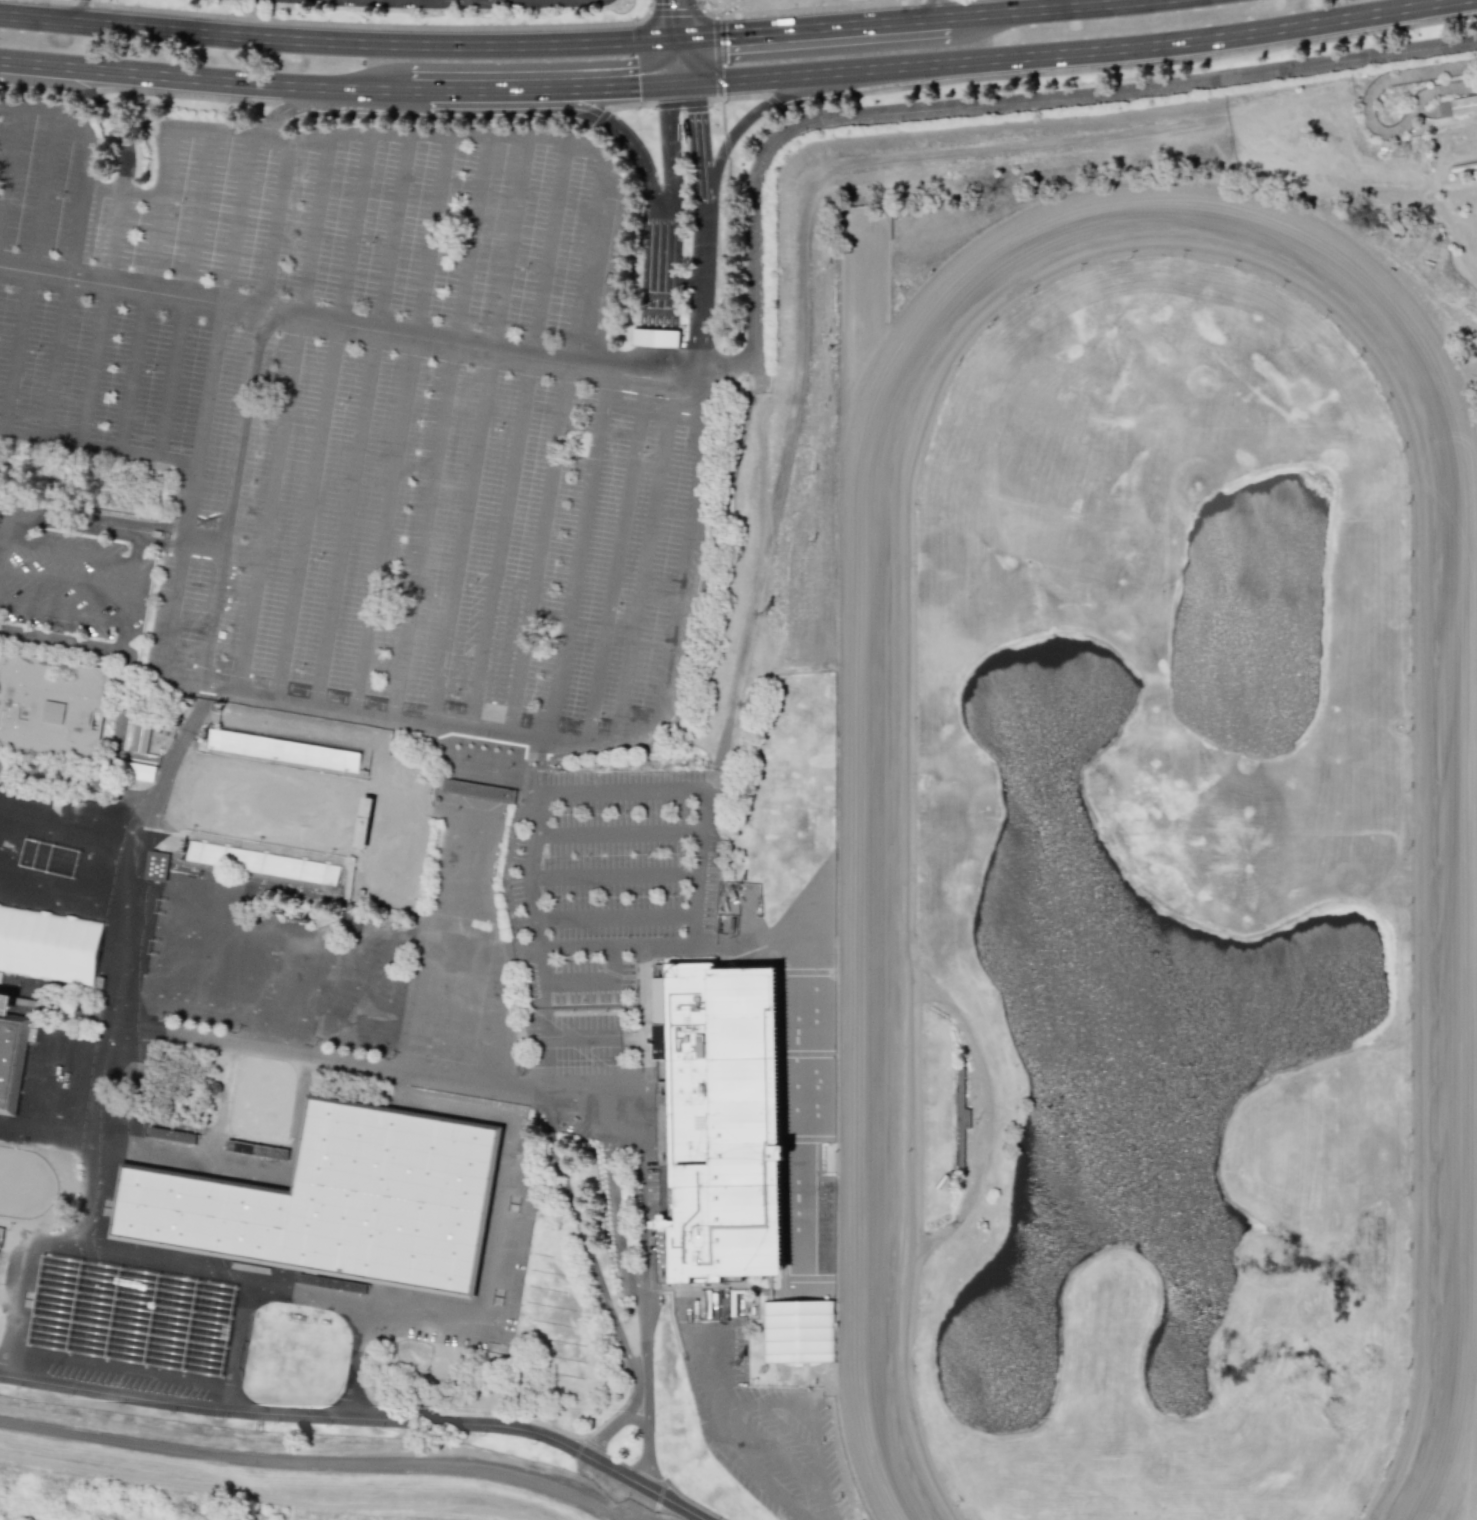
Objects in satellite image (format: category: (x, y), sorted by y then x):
road: (675, 9)
road: (813, 9)
road: (938, 10)
road: (1061, 10)
road: (80, 11)
road: (676, 20)
road: (346, 25)
road: (811, 29)
traffic signals: (677, 40)
road: (337, 44)
road: (1072, 54)
road: (717, 58)
road: (678, 61)
road: (205, 80)
traffic signals: (679, 82)
road: (679, 88)
road: (545, 89)
road: (86, 95)
road: (771, 98)
road: (673, 100)
road: (563, 106)
building: (1457, 106)
road: (295, 109)
road: (983, 109)
road: (49, 115)
road: (698, 135)
road: (427, 144)
road: (669, 159)
road: (9, 165)
road: (124, 191)
road: (702, 193)
road: (79, 206)
road: (275, 227)
road: (313, 231)
road: (352, 232)
road: (391, 239)
road: (432, 240)
road: (471, 245)
road: (507, 249)
road: (155, 253)
road: (547, 253)
road: (585, 260)
road: (28, 272)
road: (663, 279)
road: (702, 287)
road: (183, 297)
road: (223, 302)
road: (102, 308)
road: (348, 325)
building: (655, 338)
road: (54, 357)
road: (656, 362)
parking lot: (364, 407)
road: (137, 455)
road: (269, 506)
road: (5, 511)
road: (309, 513)
road: (347, 519)
road: (385, 525)
road: (94, 528)
road: (424, 531)
road: (460, 538)
road: (500, 544)
road: (537, 550)
road: (577, 557)
road: (648, 559)
road: (612, 561)
road: (65, 580)
road: (760, 580)
road: (215, 615)
road: (117, 650)
fountain: (1052, 699)
building: (51, 706)
road: (521, 739)
building: (239, 744)
road: (539, 765)
theme park: (758, 784)
road: (703, 789)
road: (620, 836)
building: (158, 865)
track: (1152, 871)
road: (617, 877)
road: (532, 893)
road: (616, 921)
track: (877, 931)
road: (616, 951)
road: (590, 981)
building: (6, 1001)
road: (555, 1020)
road: (595, 1039)
building: (11, 1057)
road: (362, 1064)
road: (546, 1066)
road: (103, 1089)
road: (629, 1103)
road: (550, 1120)
road: (645, 1123)
building: (170, 1135)
road: (46, 1146)
park: (24, 1182)
building: (336, 1198)
building: (1, 1234)
road: (166, 1257)
road: (597, 1274)
road: (248, 1291)
road: (645, 1292)
road: (378, 1312)
building: (131, 1316)
building: (798, 1332)
fountain: (993, 1356)
road: (816, 1417)
road: (361, 1418)
road: (613, 1427)
road: (792, 1436)
road: (723, 1438)
road: (314, 1463)
road: (776, 1463)
road: (265, 1495)
road: (462, 1512)

